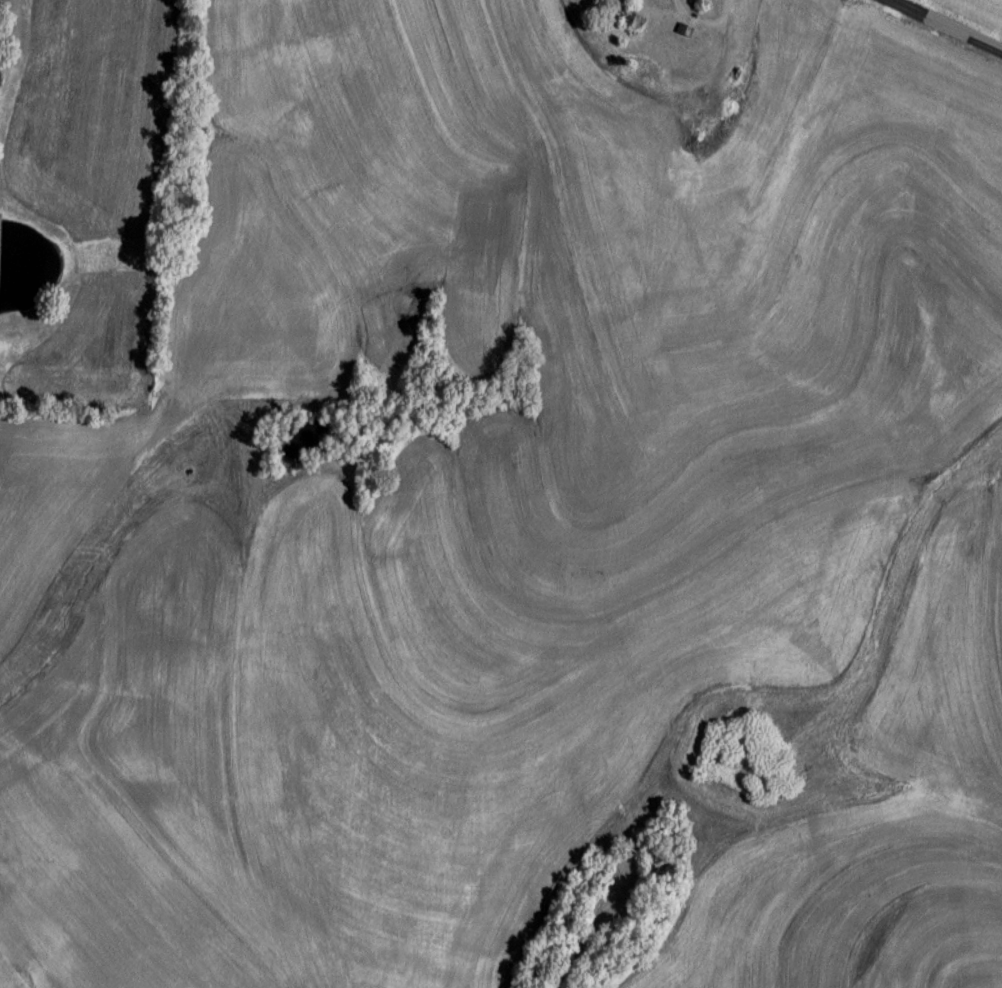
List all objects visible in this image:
road: (950, 24)
building: (637, 25)
building: (718, 141)

